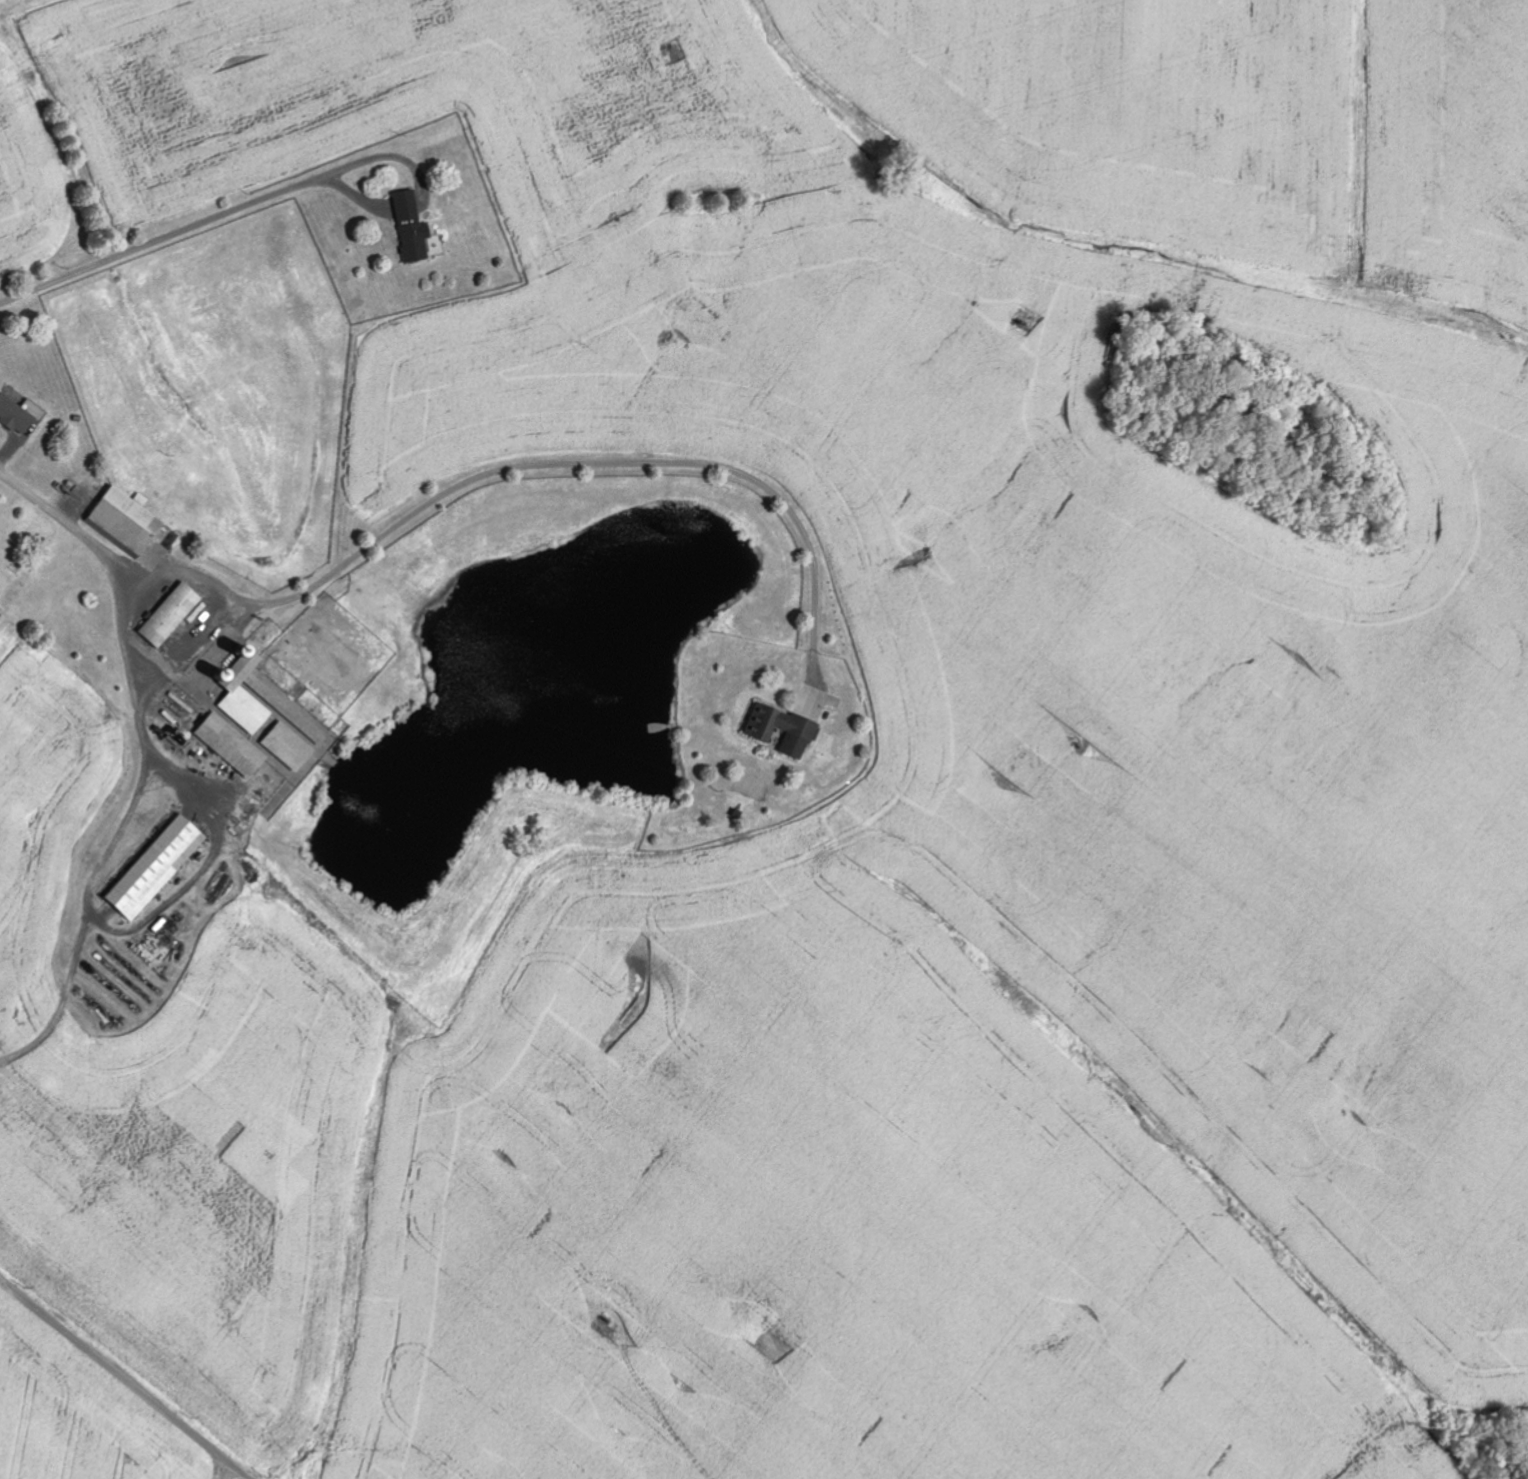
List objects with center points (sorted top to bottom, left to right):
road: (406, 139)
building: (411, 227)
building: (19, 414)
building: (126, 522)
building: (172, 615)
building: (252, 694)
building: (783, 729)
building: (234, 746)
building: (290, 746)
building: (158, 867)
road: (126, 1380)

